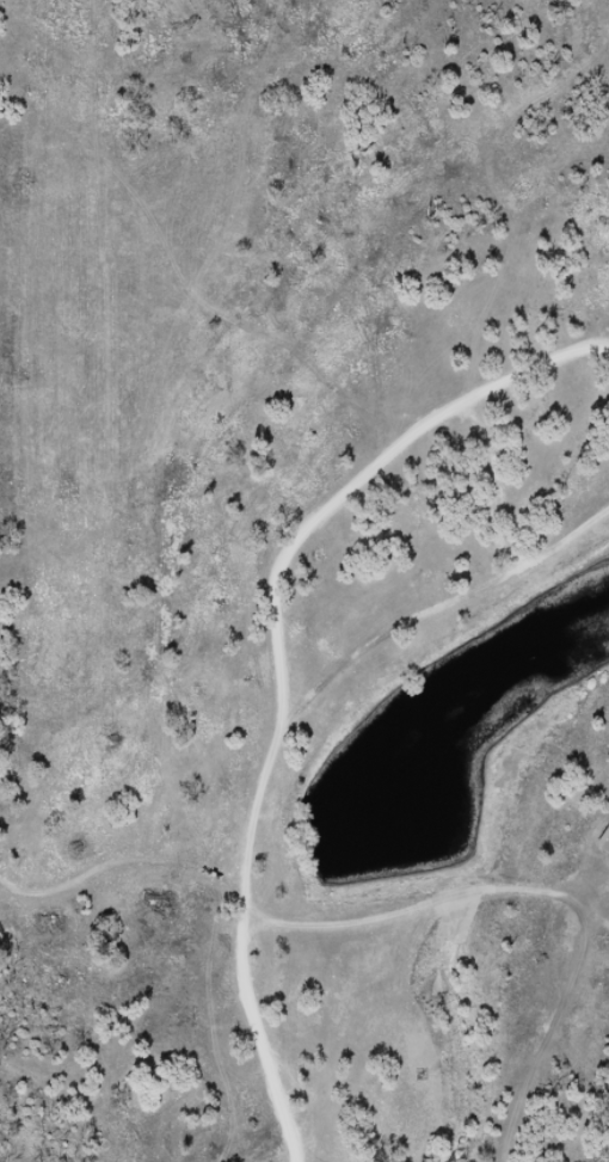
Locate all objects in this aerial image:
building: (604, 842)

